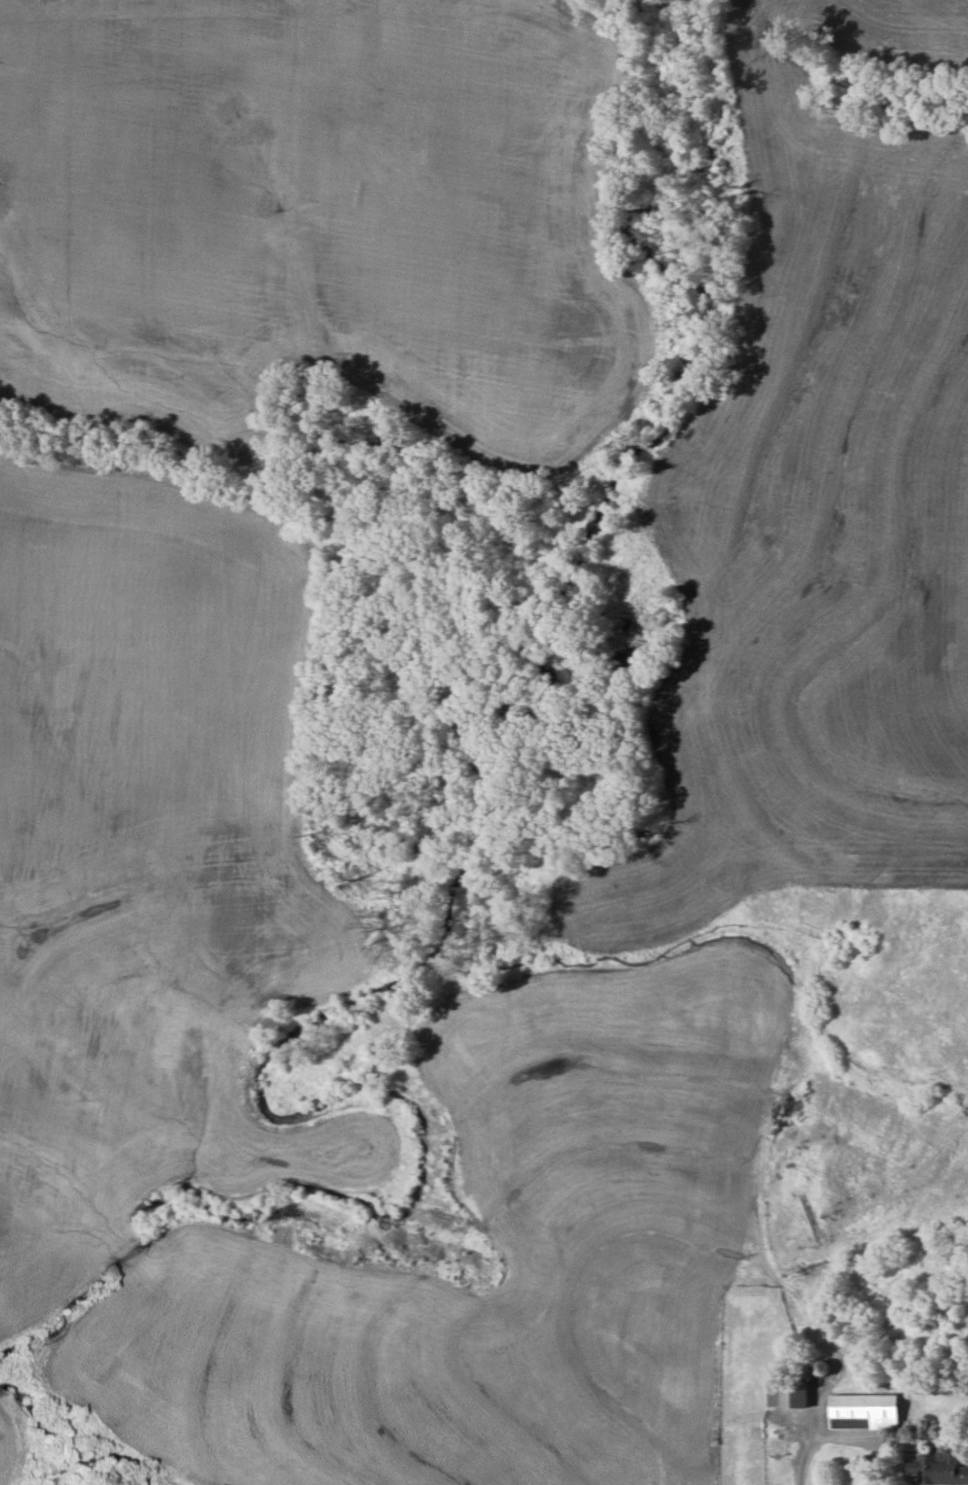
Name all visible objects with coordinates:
building: (785, 1395)
building: (860, 1413)
road: (808, 1452)
building: (936, 1471)

